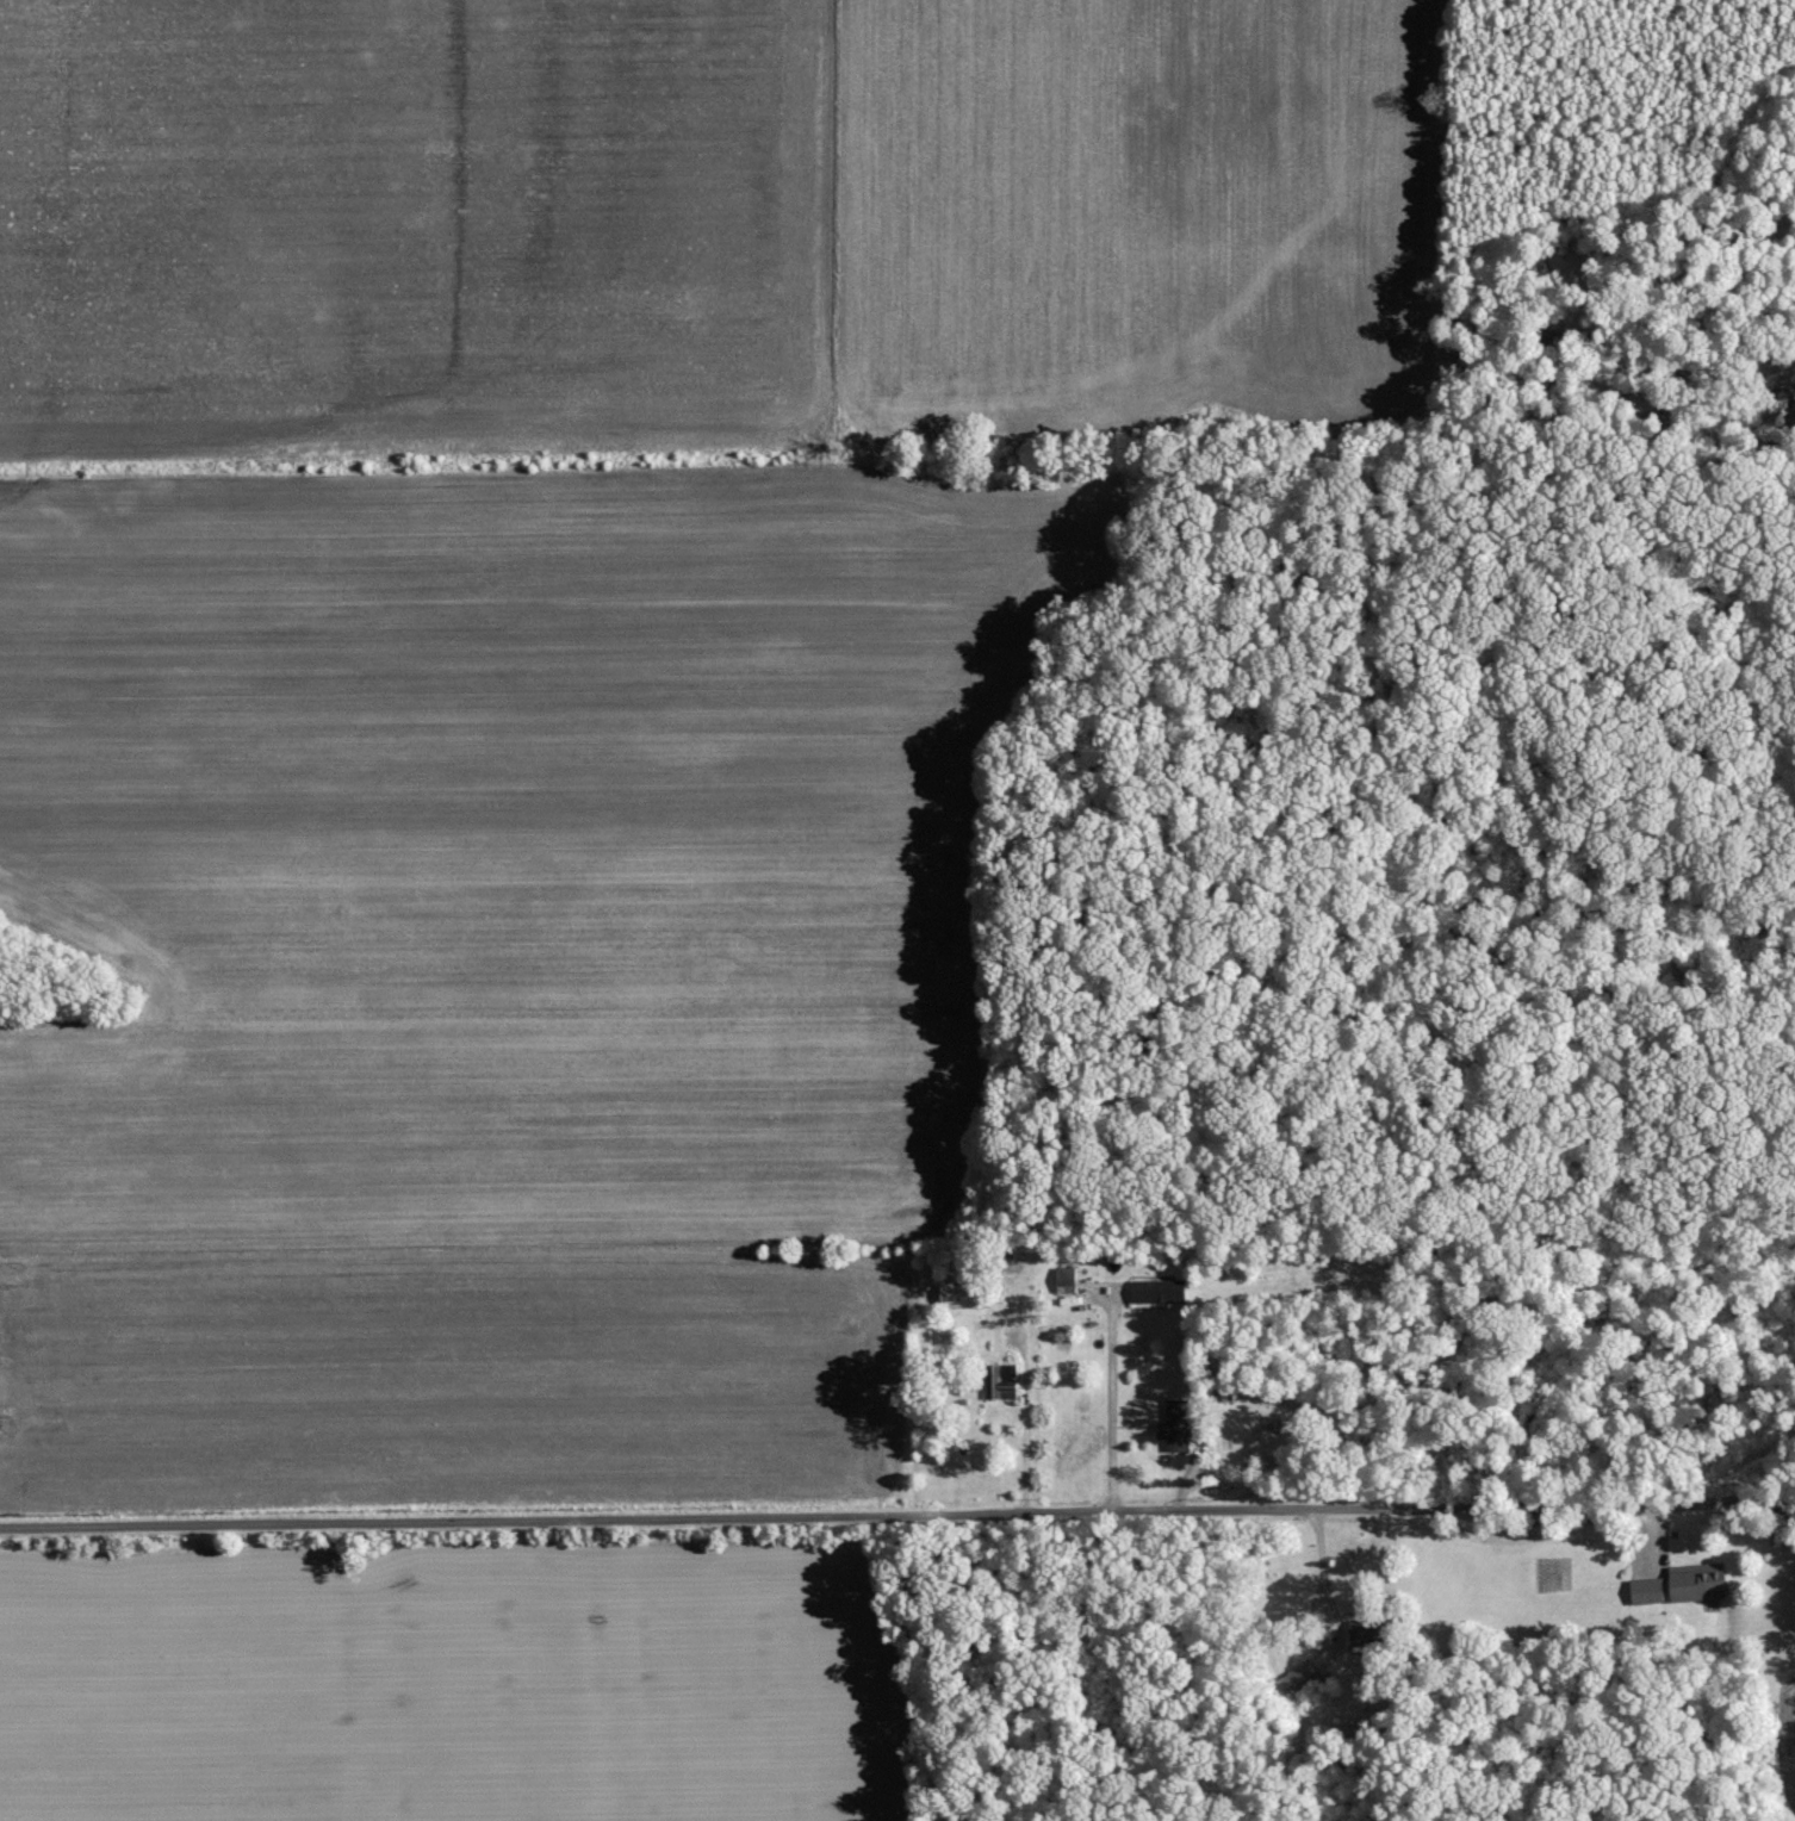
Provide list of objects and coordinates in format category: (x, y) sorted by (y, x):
building: (1068, 1280)
building: (1160, 1292)
building: (962, 1294)
building: (1004, 1381)
road: (1024, 1406)
road: (1110, 1406)
building: (1178, 1425)
road: (1788, 1509)
road: (897, 1517)
building: (1698, 1584)
building: (1648, 1591)
road: (1315, 1592)
building: (1362, 1632)
building: (1297, 1679)

